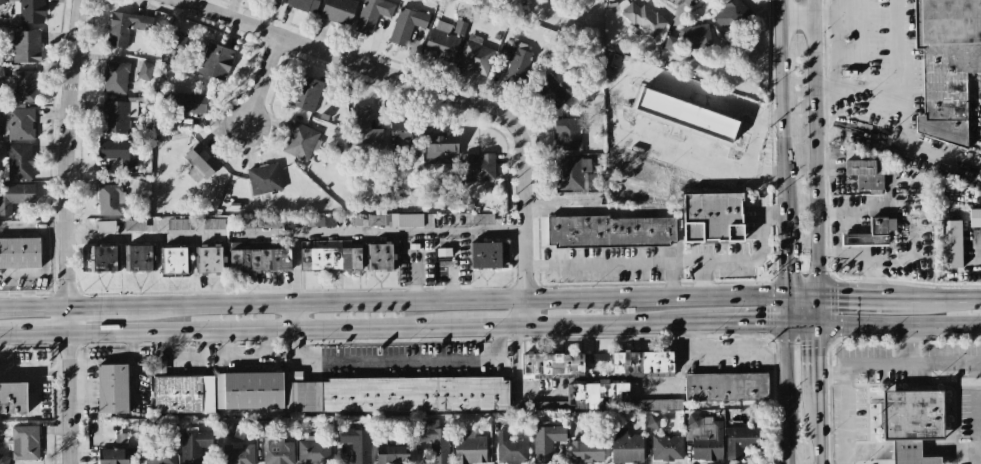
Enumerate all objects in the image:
building: (304, 5)
building: (28, 10)
building: (338, 11)
building: (372, 14)
building: (730, 15)
building: (644, 18)
road: (818, 19)
building: (406, 25)
building: (126, 26)
building: (460, 28)
building: (689, 38)
building: (441, 42)
building: (26, 47)
building: (475, 56)
building: (216, 61)
building: (514, 61)
building: (946, 66)
building: (145, 70)
building: (1, 73)
building: (115, 77)
road: (262, 81)
building: (23, 86)
road: (902, 90)
building: (548, 92)
building: (306, 93)
road: (446, 93)
road: (777, 105)
building: (183, 106)
building: (686, 115)
building: (117, 116)
building: (18, 123)
building: (363, 128)
building: (400, 131)
building: (567, 134)
building: (300, 141)
building: (441, 147)
road: (812, 147)
building: (118, 154)
building: (19, 161)
building: (199, 163)
building: (478, 167)
building: (883, 168)
building: (570, 172)
building: (864, 175)
building: (264, 179)
building: (15, 196)
building: (110, 200)
road: (558, 205)
building: (712, 217)
building: (975, 217)
building: (377, 220)
building: (410, 220)
road: (837, 220)
building: (324, 221)
building: (260, 223)
building: (177, 224)
building: (213, 224)
building: (134, 225)
building: (104, 226)
road: (63, 231)
building: (611, 231)
building: (871, 233)
road: (292, 235)
building: (948, 244)
building: (19, 253)
road: (779, 253)
building: (485, 255)
building: (331, 256)
building: (380, 257)
building: (104, 258)
building: (139, 258)
building: (210, 259)
building: (174, 260)
building: (259, 260)
road: (743, 260)
road: (855, 260)
road: (615, 261)
road: (687, 261)
traffic signals: (780, 295)
traffic signals: (816, 295)
road: (852, 295)
road: (935, 297)
road: (471, 301)
road: (780, 308)
road: (816, 308)
road: (94, 309)
road: (31, 310)
road: (293, 318)
traffic signals: (781, 321)
road: (746, 322)
traffic signals: (816, 322)
road: (618, 324)
road: (880, 325)
road: (496, 327)
road: (265, 331)
road: (40, 336)
road: (8, 337)
road: (724, 351)
road: (182, 357)
road: (765, 357)
road: (816, 357)
road: (398, 358)
road: (96, 359)
road: (944, 361)
building: (642, 363)
road: (846, 364)
road: (132, 365)
building: (552, 365)
road: (831, 377)
road: (516, 378)
building: (726, 387)
building: (112, 388)
building: (248, 391)
road: (782, 392)
building: (183, 394)
building: (397, 395)
building: (13, 398)
flagpole: (875, 416)
building: (653, 422)
building: (912, 423)
road: (816, 428)
flagpole: (875, 429)
building: (704, 437)
building: (435, 441)
building: (546, 441)
building: (740, 441)
building: (24, 442)
building: (193, 444)
building: (357, 444)
building: (234, 446)
building: (625, 446)
building: (469, 447)
building: (666, 448)
building: (511, 449)
road: (940, 449)
road: (979, 449)
road: (881, 450)
building: (313, 451)
building: (586, 451)
building: (117, 452)
building: (392, 454)
building: (161, 455)
road: (978, 456)
building: (4, 459)

